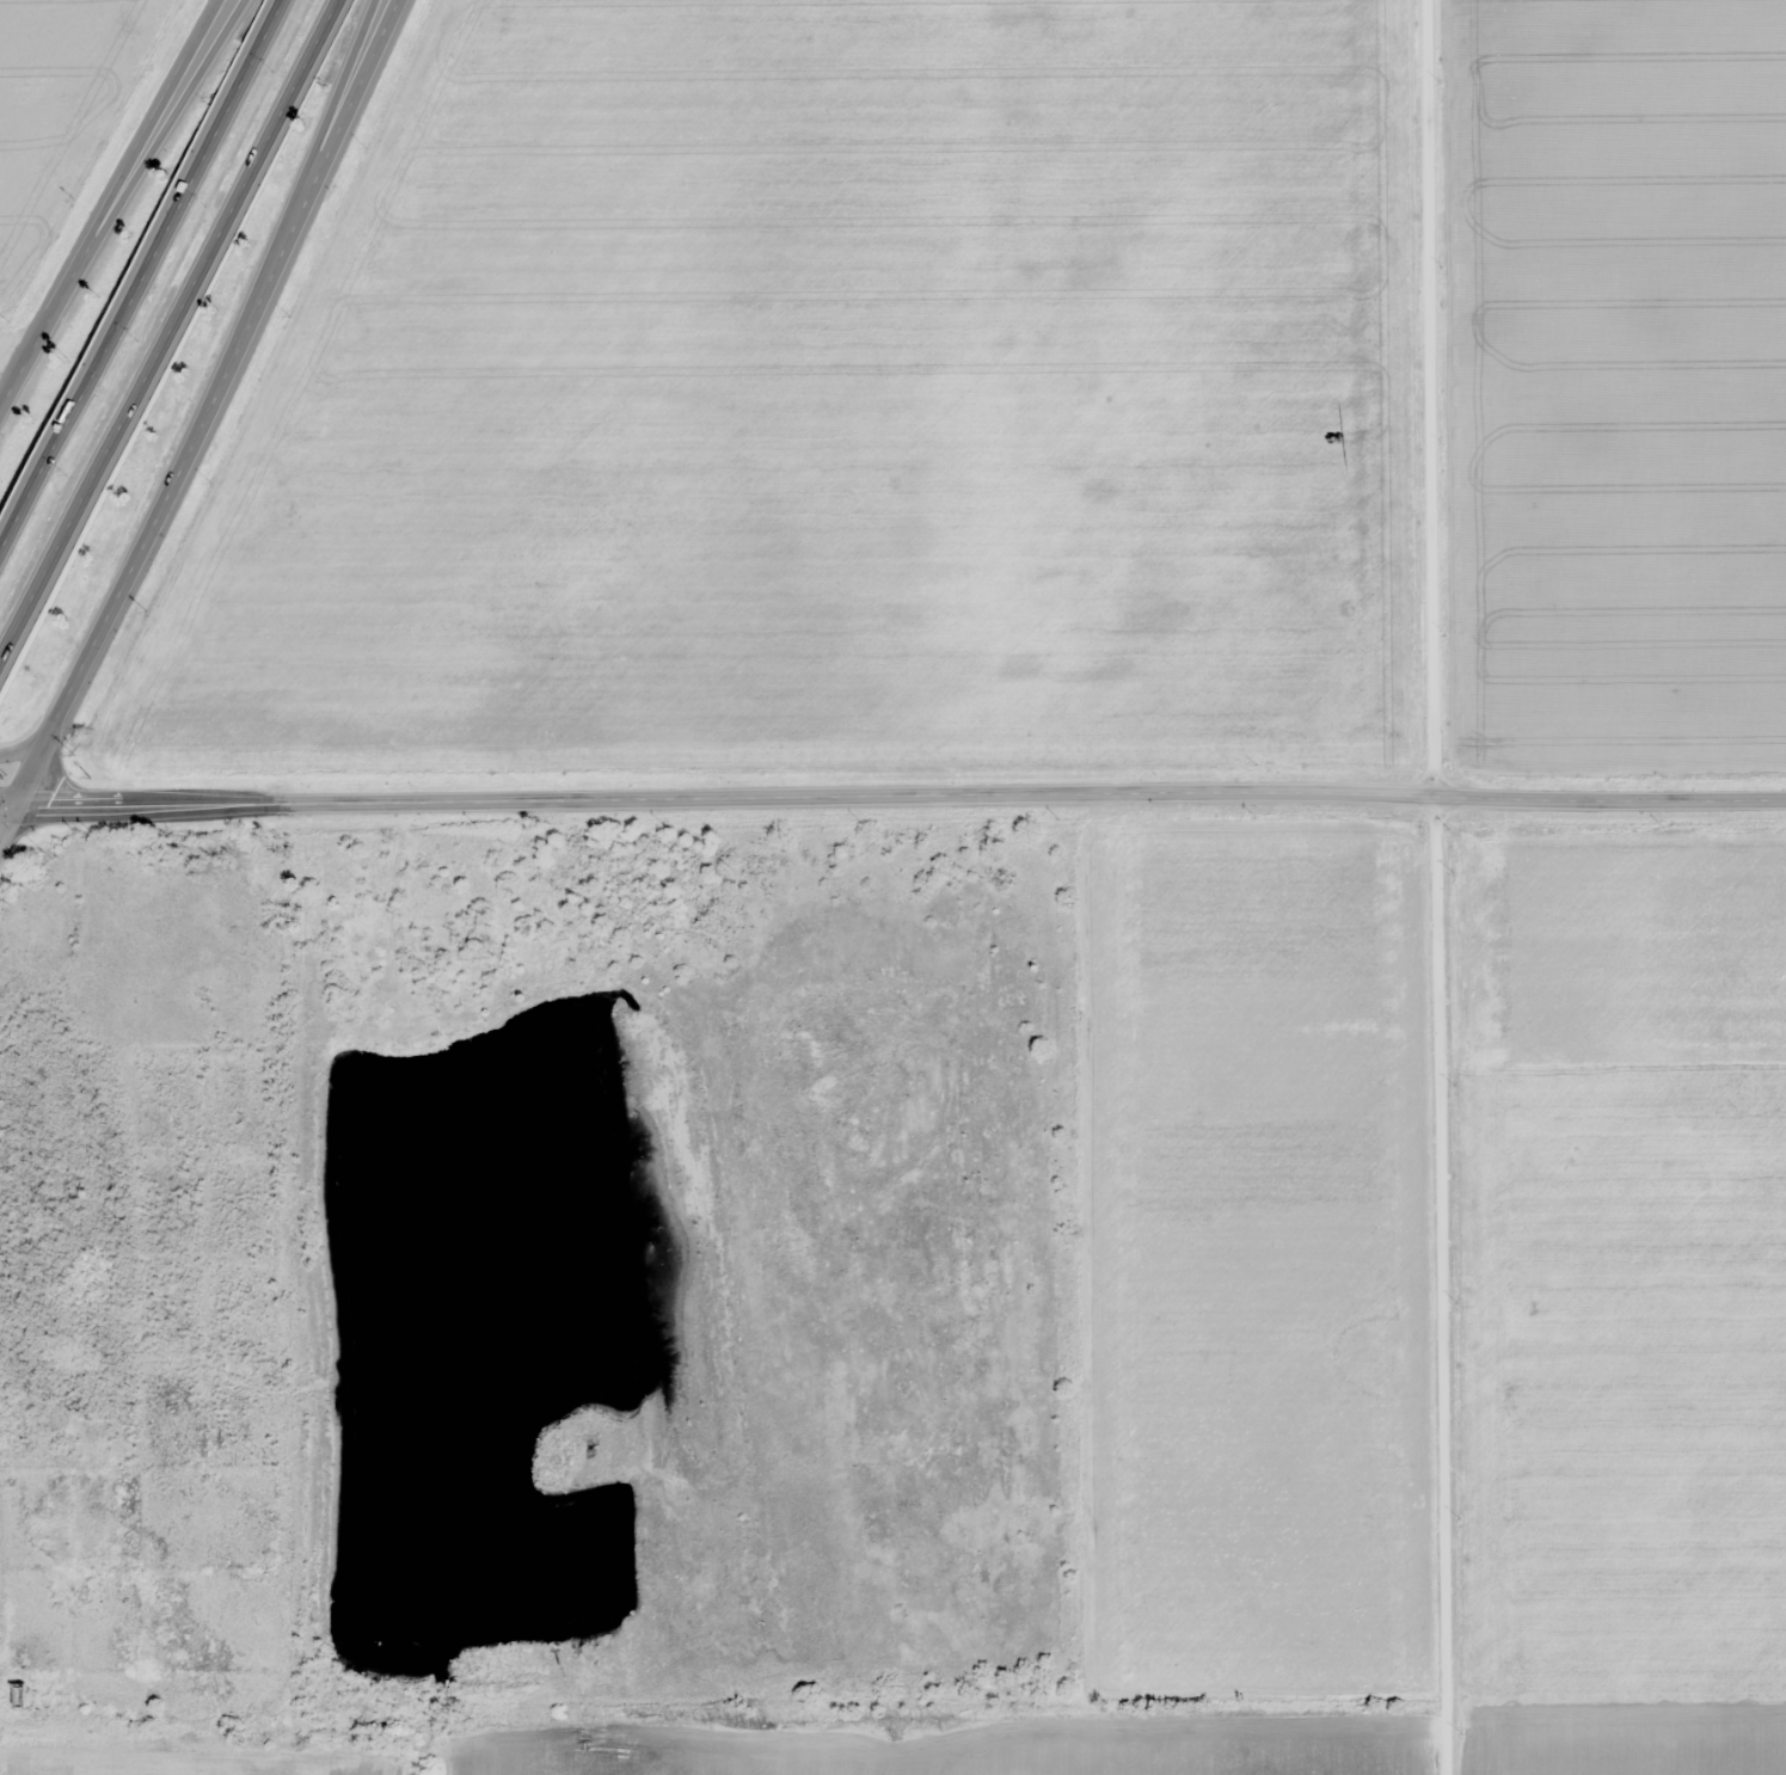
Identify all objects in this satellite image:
road: (172, 108)
road: (340, 108)
road: (105, 205)
road: (139, 275)
road: (168, 334)
road: (18, 345)
road: (201, 417)
road: (25, 749)
road: (897, 799)
road: (5, 812)
road: (1442, 886)

